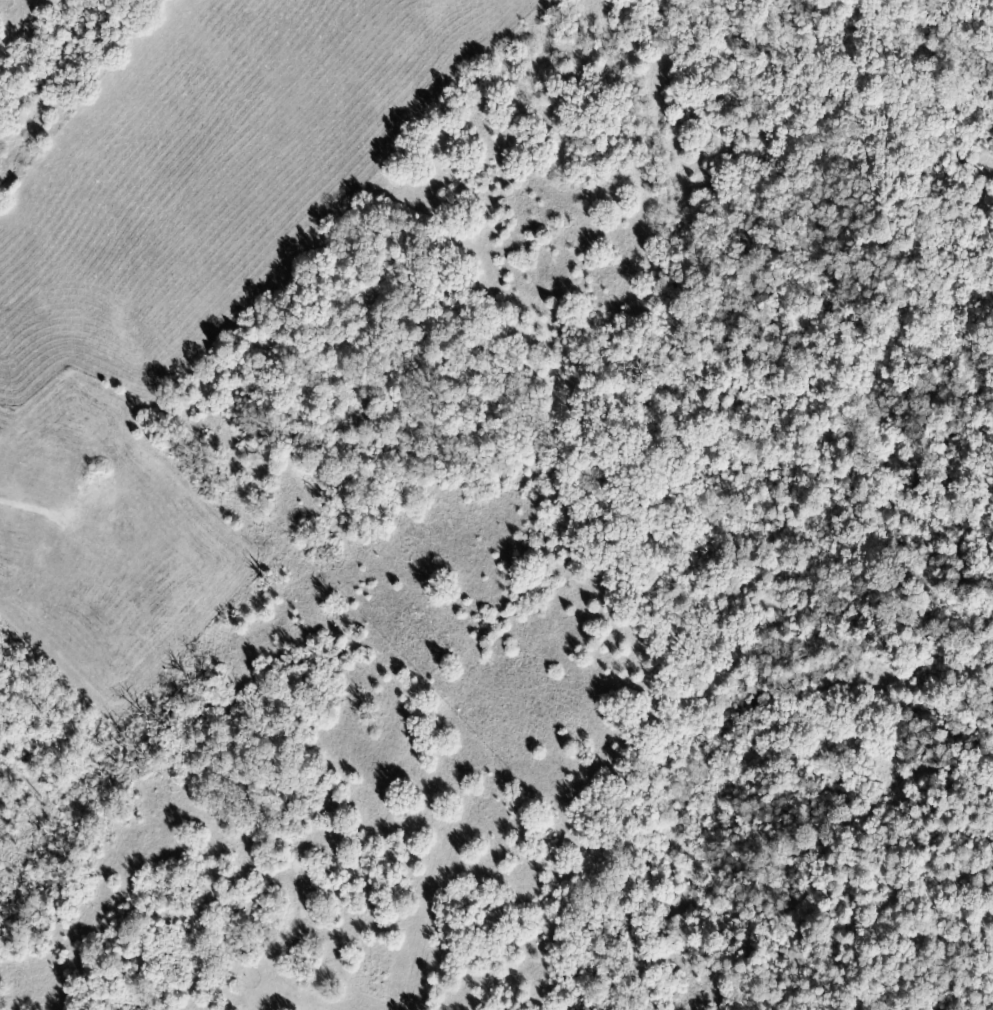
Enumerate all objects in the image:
road: (1, 0)

